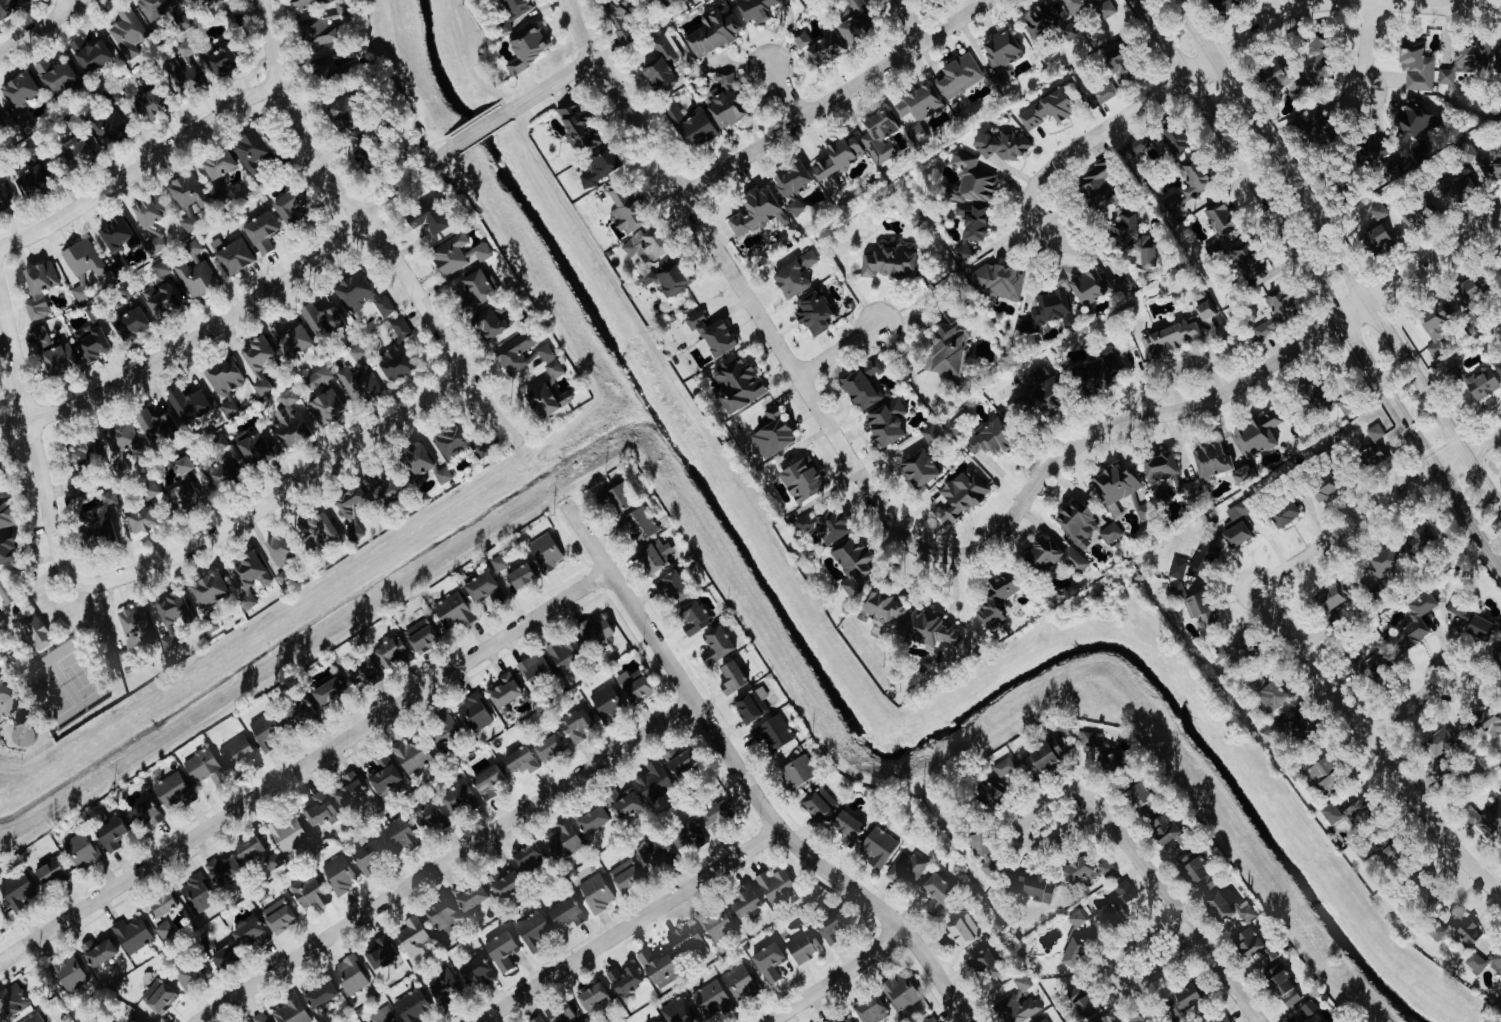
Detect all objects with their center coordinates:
building: (660, 1)
building: (308, 2)
road: (68, 3)
road: (1351, 3)
building: (200, 5)
building: (1224, 6)
building: (9, 8)
building: (155, 9)
building: (758, 10)
building: (1106, 10)
building: (515, 12)
building: (1053, 17)
building: (235, 20)
building: (622, 20)
road: (908, 22)
building: (185, 23)
building: (857, 23)
road: (40, 26)
road: (1197, 29)
building: (320, 32)
building: (1072, 32)
building: (129, 33)
building: (714, 34)
building: (802, 39)
building: (529, 48)
road: (1367, 48)
building: (188, 49)
building: (828, 49)
building: (1004, 50)
building: (91, 55)
building: (1469, 62)
building: (224, 63)
building: (1418, 66)
building: (1498, 66)
building: (1123, 68)
building: (1303, 70)
building: (336, 71)
building: (57, 77)
building: (960, 77)
building: (186, 80)
road: (548, 86)
building: (22, 91)
road: (781, 91)
building: (1106, 93)
road: (837, 98)
building: (727, 99)
road: (620, 103)
building: (921, 104)
building: (152, 105)
building: (1051, 109)
building: (676, 114)
building: (347, 115)
building: (75, 123)
building: (1414, 123)
building: (1, 128)
road: (479, 129)
building: (580, 129)
building: (111, 130)
building: (699, 132)
building: (916, 132)
road: (1097, 135)
building: (1330, 135)
building: (881, 138)
building: (1177, 141)
building: (1003, 146)
building: (35, 147)
building: (1137, 148)
building: (252, 152)
building: (841, 157)
building: (1384, 159)
building: (367, 161)
building: (1483, 162)
road: (140, 164)
building: (602, 166)
building: (220, 172)
building: (794, 181)
building: (972, 181)
building: (34, 182)
building: (1192, 184)
building: (1099, 185)
building: (1460, 190)
building: (7, 198)
building: (189, 199)
building: (292, 207)
building: (797, 208)
building: (628, 211)
building: (1380, 212)
building: (759, 213)
building: (1420, 217)
building: (431, 219)
building: (917, 220)
building: (152, 222)
building: (975, 223)
building: (1221, 227)
road: (369, 230)
building: (263, 234)
building: (117, 235)
building: (1134, 239)
building: (1378, 239)
building: (651, 245)
building: (195, 250)
building: (964, 254)
building: (458, 255)
building: (234, 256)
building: (890, 260)
building: (1251, 261)
building: (84, 266)
building: (162, 271)
building: (796, 275)
building: (670, 278)
building: (198, 279)
building: (999, 281)
road: (1358, 282)
road: (1320, 285)
building: (1096, 287)
building: (480, 289)
building: (40, 290)
building: (128, 291)
building: (355, 293)
building: (1199, 293)
building: (1466, 295)
building: (164, 302)
building: (386, 307)
road: (241, 310)
building: (1207, 310)
building: (95, 312)
building: (1050, 312)
building: (1278, 312)
building: (816, 313)
building: (324, 321)
building: (133, 325)
building: (494, 325)
building: (1435, 331)
building: (714, 334)
building: (1173, 336)
building: (292, 341)
building: (93, 344)
building: (951, 347)
road: (838, 351)
building: (359, 353)
building: (524, 353)
building: (55, 354)
building: (398, 355)
building: (260, 363)
building: (1498, 366)
building: (555, 370)
building: (1102, 373)
building: (226, 378)
building: (319, 379)
building: (360, 384)
building: (740, 384)
building: (1483, 384)
building: (864, 385)
building: (1046, 394)
building: (1316, 395)
building: (190, 406)
building: (1347, 406)
building: (327, 408)
building: (230, 409)
building: (291, 421)
building: (888, 423)
building: (958, 426)
building: (158, 428)
building: (776, 433)
building: (1259, 434)
building: (932, 435)
building: (123, 438)
building: (995, 439)
building: (454, 440)
road: (31, 442)
building: (257, 448)
building: (86, 450)
building: (1373, 455)
building: (419, 460)
building: (1214, 460)
building: (1162, 465)
building: (921, 468)
building: (227, 471)
building: (445, 476)
building: (1245, 476)
building: (0, 477)
building: (804, 480)
building: (1116, 486)
building: (1326, 487)
building: (386, 488)
building: (1192, 489)
building: (150, 490)
road: (1025, 494)
building: (963, 495)
building: (620, 496)
building: (184, 497)
road: (276, 497)
building: (354, 511)
building: (1147, 511)
building: (1286, 513)
road: (1373, 513)
building: (7, 514)
building: (144, 519)
building: (100, 522)
building: (1079, 522)
building: (827, 524)
building: (1239, 524)
building: (640, 525)
building: (319, 530)
building: (1112, 533)
building: (1422, 539)
building: (7, 548)
building: (281, 549)
building: (547, 553)
building: (1055, 555)
building: (655, 557)
building: (1207, 557)
building: (500, 563)
building: (1385, 563)
building: (854, 564)
building: (1179, 568)
building: (523, 576)
building: (285, 577)
building: (250, 578)
building: (483, 587)
building: (673, 587)
building: (211, 589)
building: (6, 593)
building: (1176, 593)
building: (1335, 595)
building: (999, 600)
building: (884, 606)
building: (1459, 607)
building: (1203, 609)
building: (454, 610)
building: (172, 616)
building: (695, 617)
building: (1420, 619)
building: (1483, 627)
building: (932, 630)
building: (134, 631)
building: (37, 632)
building: (596, 632)
building: (422, 635)
building: (718, 645)
park: (57, 649)
building: (1245, 650)
building: (393, 653)
building: (566, 654)
building: (1221, 655)
building: (1375, 667)
building: (536, 670)
building: (363, 673)
building: (733, 678)
building: (1, 683)
building: (636, 686)
building: (507, 691)
building: (330, 692)
building: (1275, 696)
building: (608, 703)
road: (1410, 703)
building: (753, 706)
building: (304, 713)
building: (476, 713)
building: (1489, 725)
building: (577, 726)
building: (1301, 729)
building: (268, 732)
building: (445, 732)
building: (775, 733)
building: (1092, 740)
building: (550, 748)
building: (1440, 749)
building: (238, 753)
building: (413, 756)
road: (1379, 757)
building: (1043, 758)
building: (522, 761)
building: (682, 761)
building: (1114, 763)
road: (304, 766)
building: (205, 767)
building: (1005, 767)
building: (799, 772)
building: (1329, 773)
building: (385, 775)
road: (744, 780)
building: (489, 782)
building: (657, 783)
building: (175, 791)
building: (351, 791)
building: (994, 794)
building: (460, 799)
building: (1146, 800)
building: (623, 804)
building: (822, 805)
building: (322, 810)
building: (1332, 813)
building: (1362, 813)
building: (146, 815)
building: (719, 817)
building: (432, 818)
building: (594, 820)
building: (1486, 820)
building: (850, 827)
road: (1023, 828)
building: (1169, 831)
building: (113, 834)
building: (289, 834)
building: (399, 836)
building: (689, 836)
building: (565, 840)
building: (251, 848)
building: (880, 848)
building: (81, 850)
building: (984, 852)
building: (658, 853)
building: (1393, 856)
building: (371, 857)
building: (529, 858)
building: (273, 862)
road: (445, 863)
building: (909, 869)
building: (1089, 869)
building: (224, 871)
building: (51, 873)
building: (1199, 873)
building: (341, 874)
building: (627, 876)
building: (506, 884)
building: (777, 886)
building: (1033, 888)
building: (18, 892)
building: (311, 892)
building: (1126, 892)
building: (597, 893)
building: (198, 894)
building: (938, 894)
building: (471, 897)
building: (748, 902)
building: (164, 904)
building: (1220, 907)
building: (1247, 911)
building: (567, 914)
building: (444, 915)
building: (1114, 915)
road: (1177, 915)
building: (280, 916)
building: (1078, 919)
road: (628, 925)
building: (834, 927)
building: (165, 931)
building: (534, 931)
building: (965, 932)
building: (1459, 932)
building: (250, 933)
building: (133, 935)
building: (415, 936)
building: (686, 940)
building: (1250, 942)
building: (805, 947)
building: (1078, 947)
building: (503, 952)
building: (99, 953)
building: (383, 953)
building: (1267, 956)
building: (227, 957)
building: (770, 962)
building: (1477, 963)
building: (1497, 963)
building: (988, 964)
building: (660, 969)
building: (478, 972)
building: (70, 974)
building: (194, 975)
building: (351, 976)
road: (839, 978)
road: (1114, 978)
building: (626, 980)
building: (741, 983)
building: (445, 986)
building: (1285, 986)
building: (903, 992)
building: (320, 994)
building: (160, 997)
building: (596, 998)
building: (1189, 998)
building: (713, 1000)
building: (13, 1002)
building: (1019, 1003)
building: (1083, 1004)
building: (414, 1006)
building: (1311, 1008)
building: (872, 1009)
building: (679, 1011)
building: (292, 1012)
building: (562, 1013)
building: (383, 1016)
building: (261, 1018)
building: (1141, 1018)
building: (1223, 1018)
building: (36, 1019)
building: (1318, 1019)
building: (538, 1020)
building: (584, 1020)
building: (832, 1020)
building: (849, 1020)
building: (933, 1020)
building: (1046, 1020)

